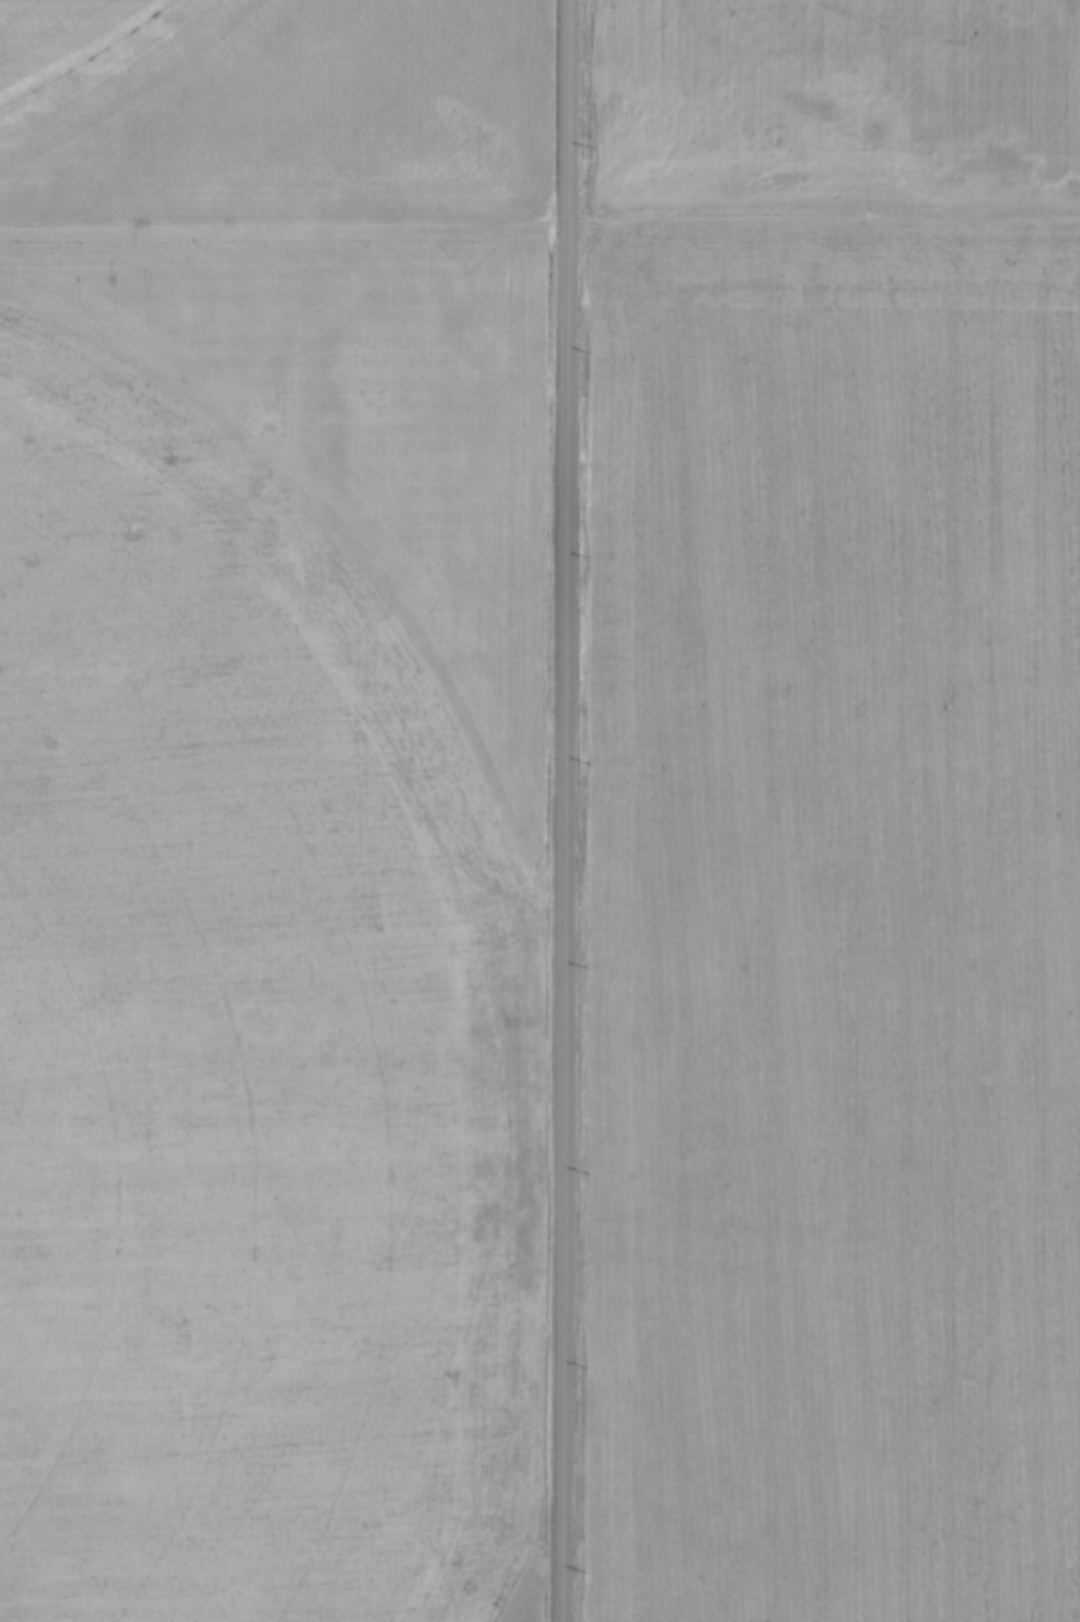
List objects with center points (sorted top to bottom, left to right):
crop: (270, 807)
road: (565, 810)
crop: (834, 813)

